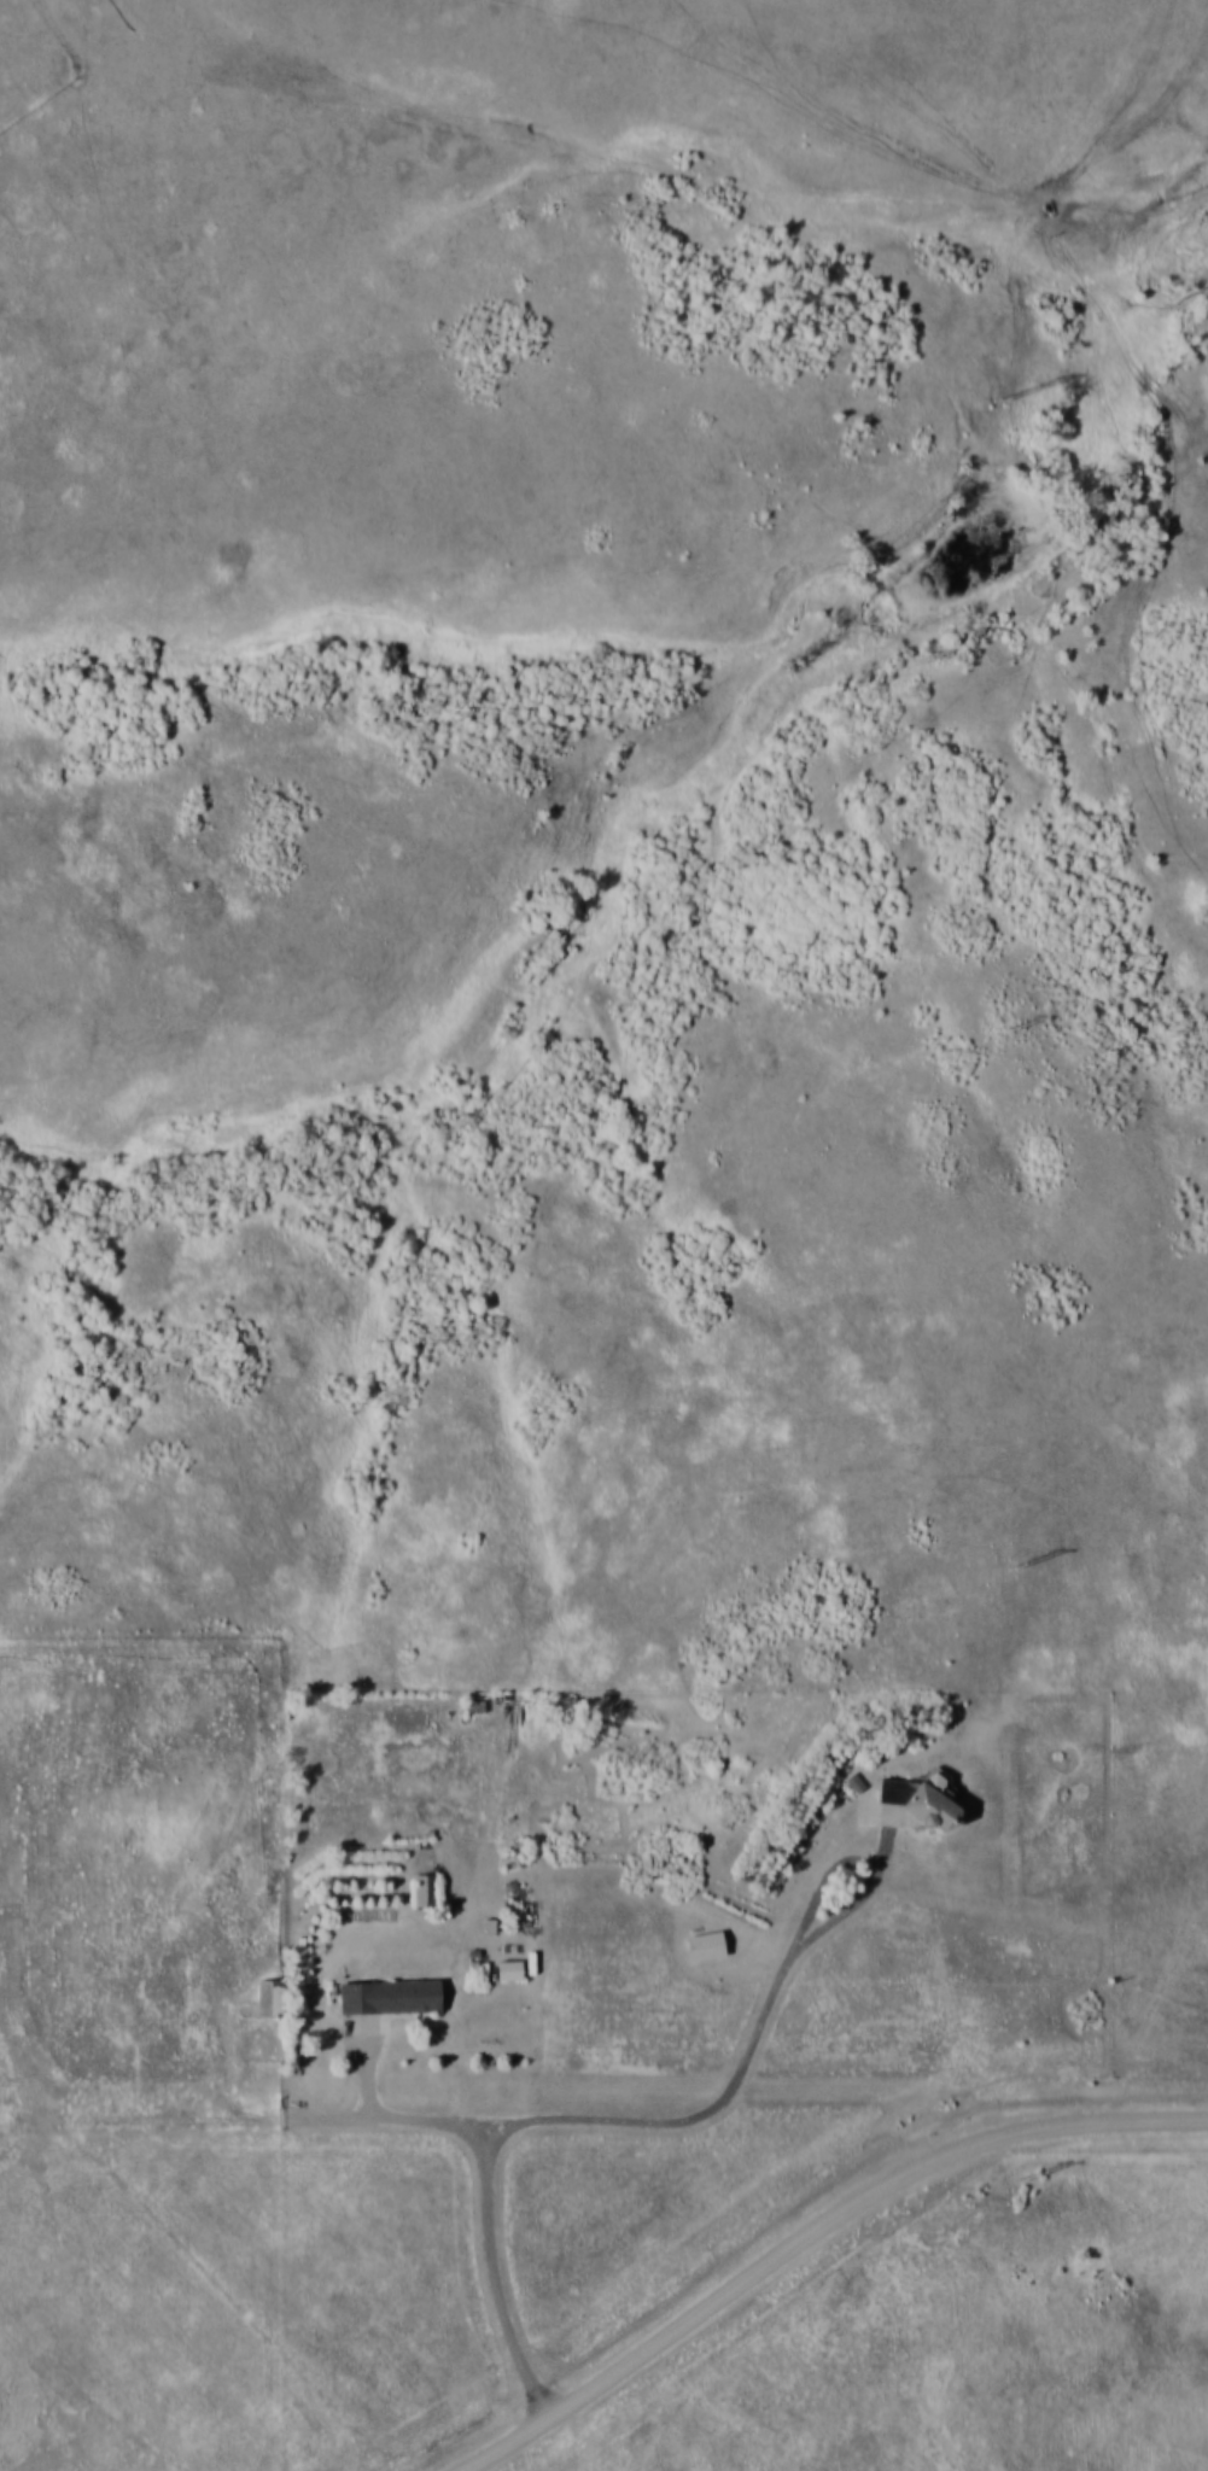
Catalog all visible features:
power tower: (1012, 401)
power tower: (1017, 1027)
power tower: (1025, 1566)
building: (917, 1795)
road: (833, 1876)
building: (425, 1891)
road: (527, 1943)
building: (704, 1946)
building: (510, 1965)
building: (389, 1997)
building: (269, 1998)
road: (377, 2084)
road: (531, 2122)
power tower: (1035, 2178)
road: (817, 2237)
road: (496, 2276)

